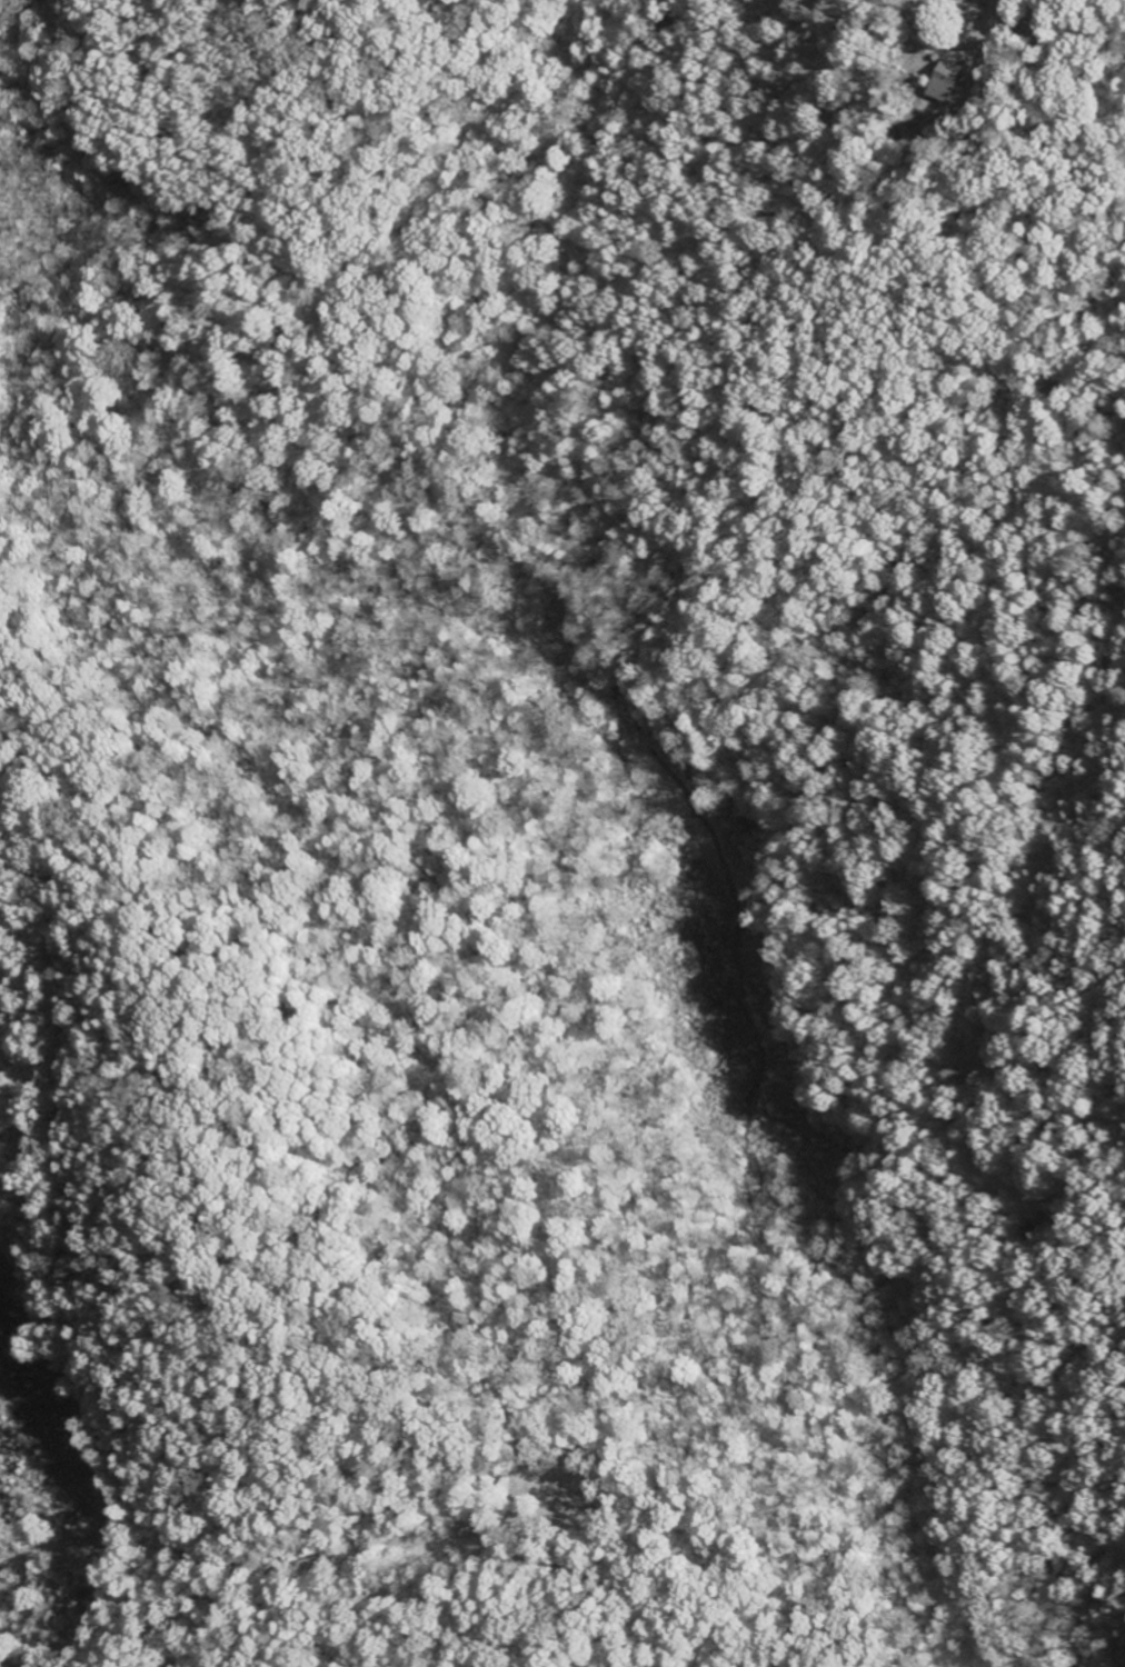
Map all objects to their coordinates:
road: (1115, 6)
building: (944, 82)
road: (101, 1441)
park: (557, 1494)

